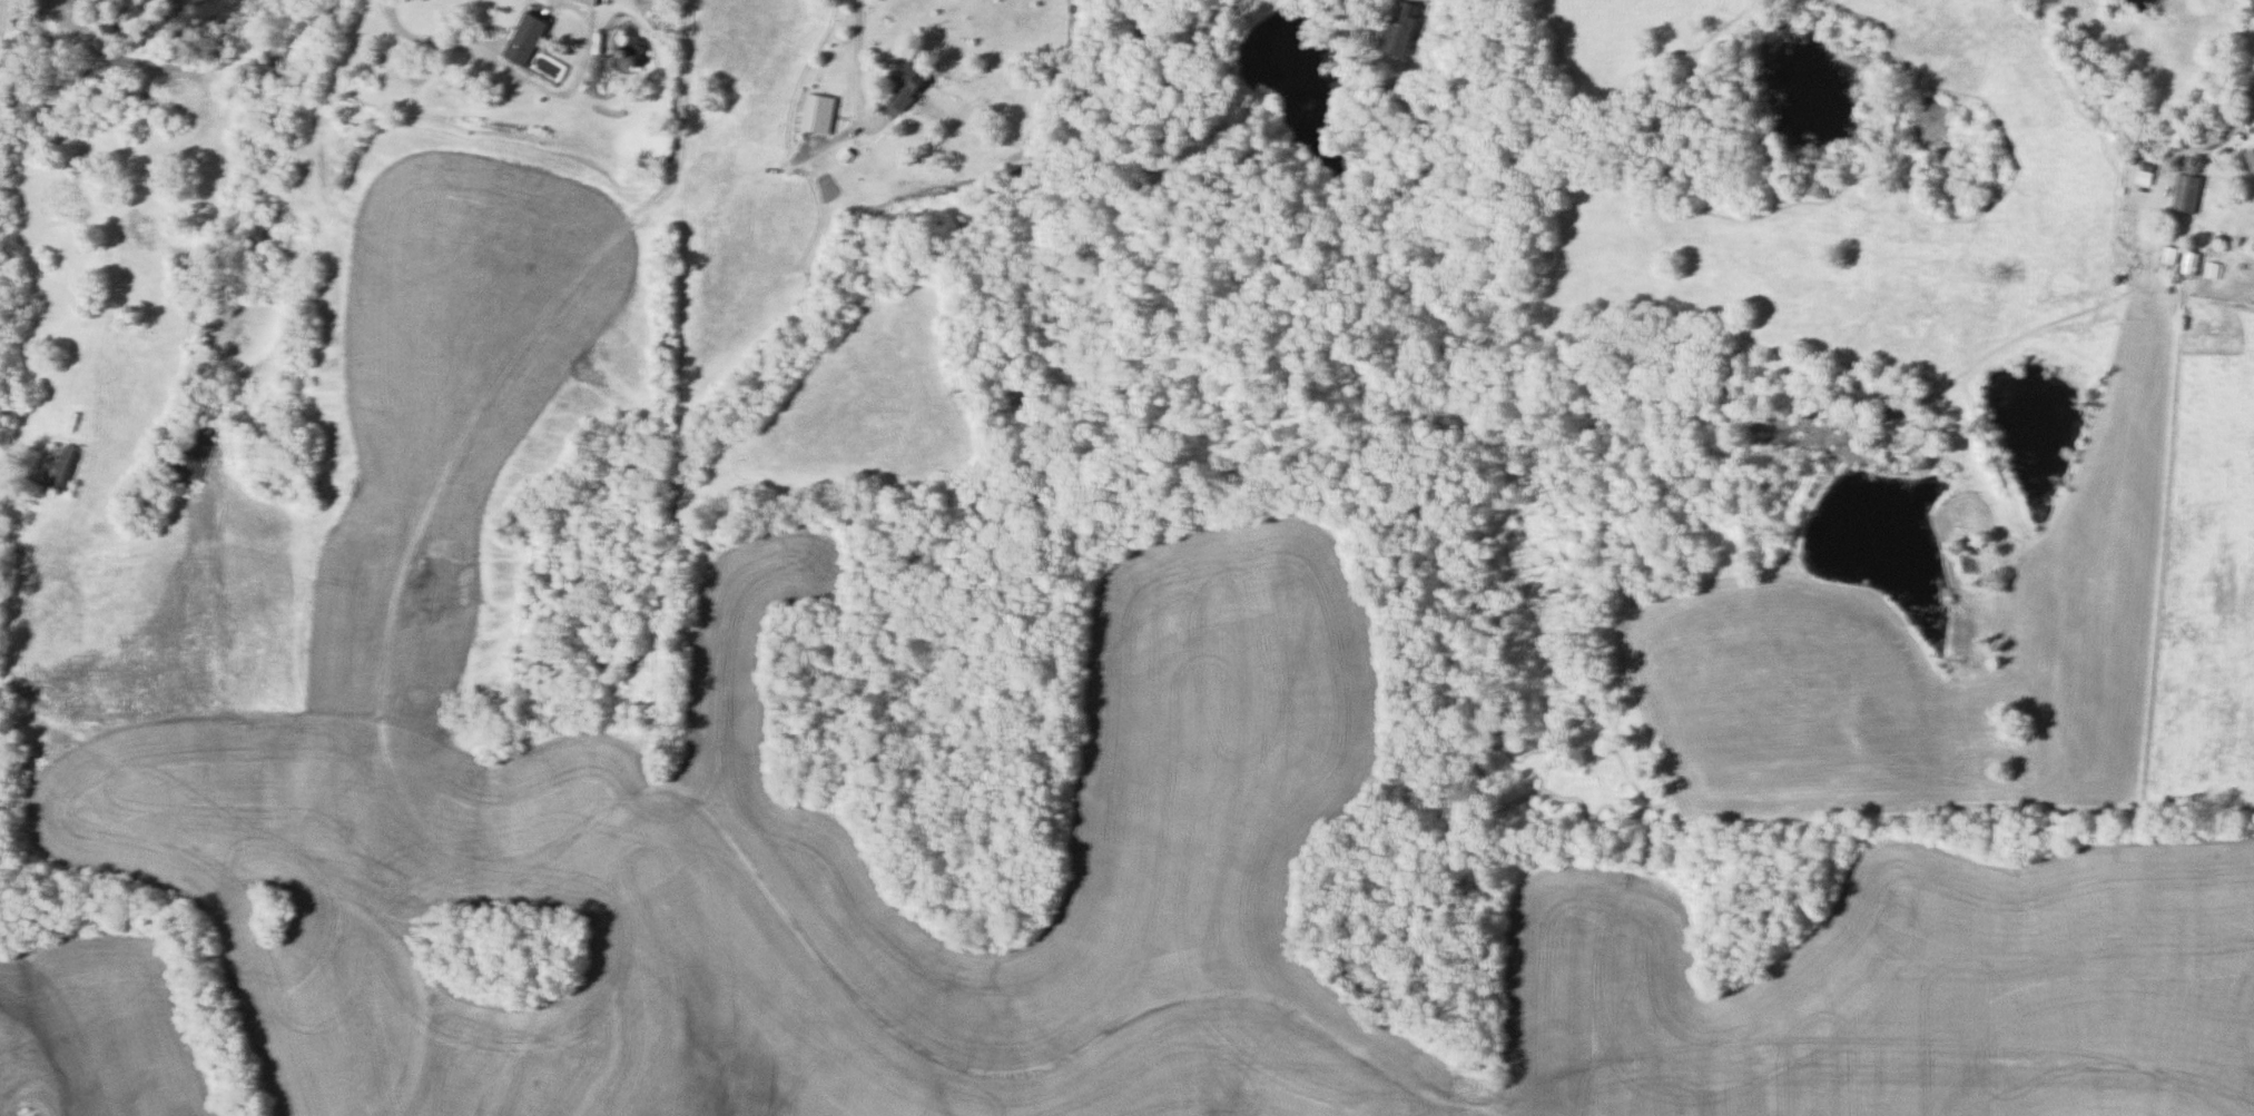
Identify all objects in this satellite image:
building: (592, 2)
road: (1427, 2)
road: (654, 7)
building: (1404, 29)
building: (528, 40)
road: (427, 45)
road: (862, 71)
building: (909, 85)
building: (820, 115)
road: (2247, 115)
building: (2251, 158)
building: (2145, 177)
building: (2187, 195)
building: (2192, 265)
road: (111, 294)
building: (59, 465)
road: (649, 786)

